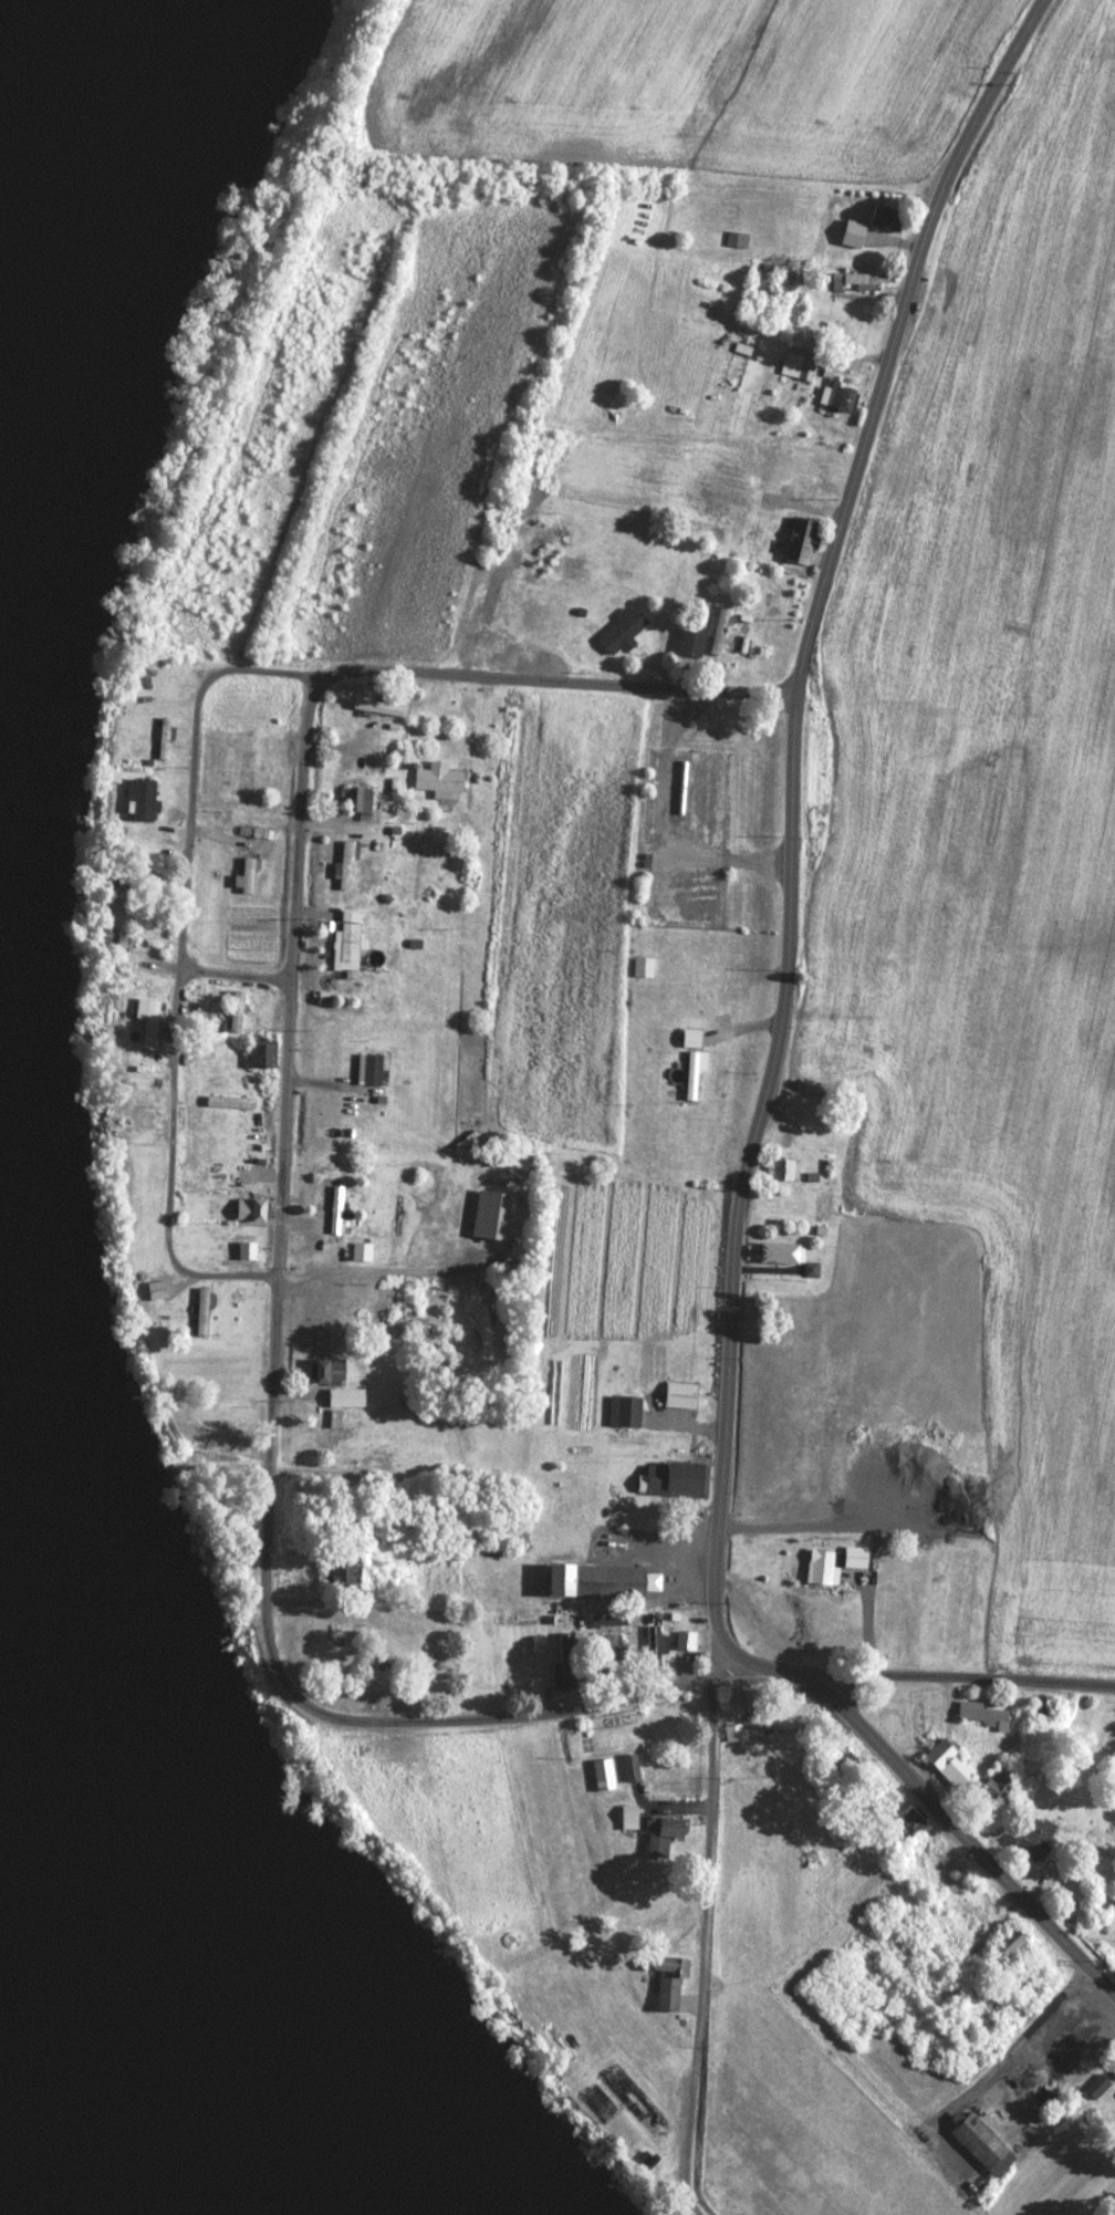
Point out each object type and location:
building: (885, 215)
building: (739, 237)
building: (863, 277)
building: (800, 363)
building: (838, 395)
building: (893, 462)
road: (780, 482)
crop: (740, 519)
building: (756, 534)
building: (729, 626)
building: (621, 630)
building: (689, 639)
road: (535, 686)
building: (376, 705)
building: (161, 736)
building: (246, 772)
building: (438, 780)
building: (356, 798)
building: (140, 799)
road: (783, 822)
building: (344, 861)
building: (247, 871)
building: (345, 939)
road: (183, 958)
building: (642, 966)
road: (228, 984)
building: (235, 1009)
building: (146, 1018)
building: (689, 1037)
building: (260, 1051)
building: (371, 1068)
building: (690, 1073)
building: (491, 1164)
building: (781, 1167)
building: (329, 1194)
building: (821, 1204)
building: (249, 1208)
building: (496, 1220)
building: (334, 1224)
building: (244, 1247)
building: (361, 1250)
building: (779, 1251)
building: (154, 1288)
building: (201, 1310)
building: (483, 1328)
building: (327, 1369)
road: (254, 1390)
building: (679, 1393)
building: (344, 1395)
building: (623, 1408)
building: (333, 1420)
building: (333, 1424)
building: (846, 1450)
building: (674, 1475)
building: (854, 1554)
building: (819, 1564)
building: (342, 1568)
building: (600, 1577)
building: (887, 1606)
building: (835, 1623)
building: (607, 1631)
building: (338, 1636)
building: (652, 1643)
building: (565, 1657)
road: (798, 1699)
road: (1004, 1704)
building: (1042, 1707)
building: (980, 1710)
building: (768, 1720)
building: (948, 1759)
building: (629, 1765)
building: (602, 1771)
building: (994, 1784)
building: (627, 1814)
building: (907, 1818)
building: (660, 1831)
building: (1032, 1839)
road: (989, 1857)
building: (1008, 1940)
road: (698, 1956)
building: (666, 1980)
building: (960, 1983)
building: (958, 2027)
building: (1095, 2083)
building: (597, 2101)
building: (635, 2101)
building: (982, 2143)
river: (35, 2175)

